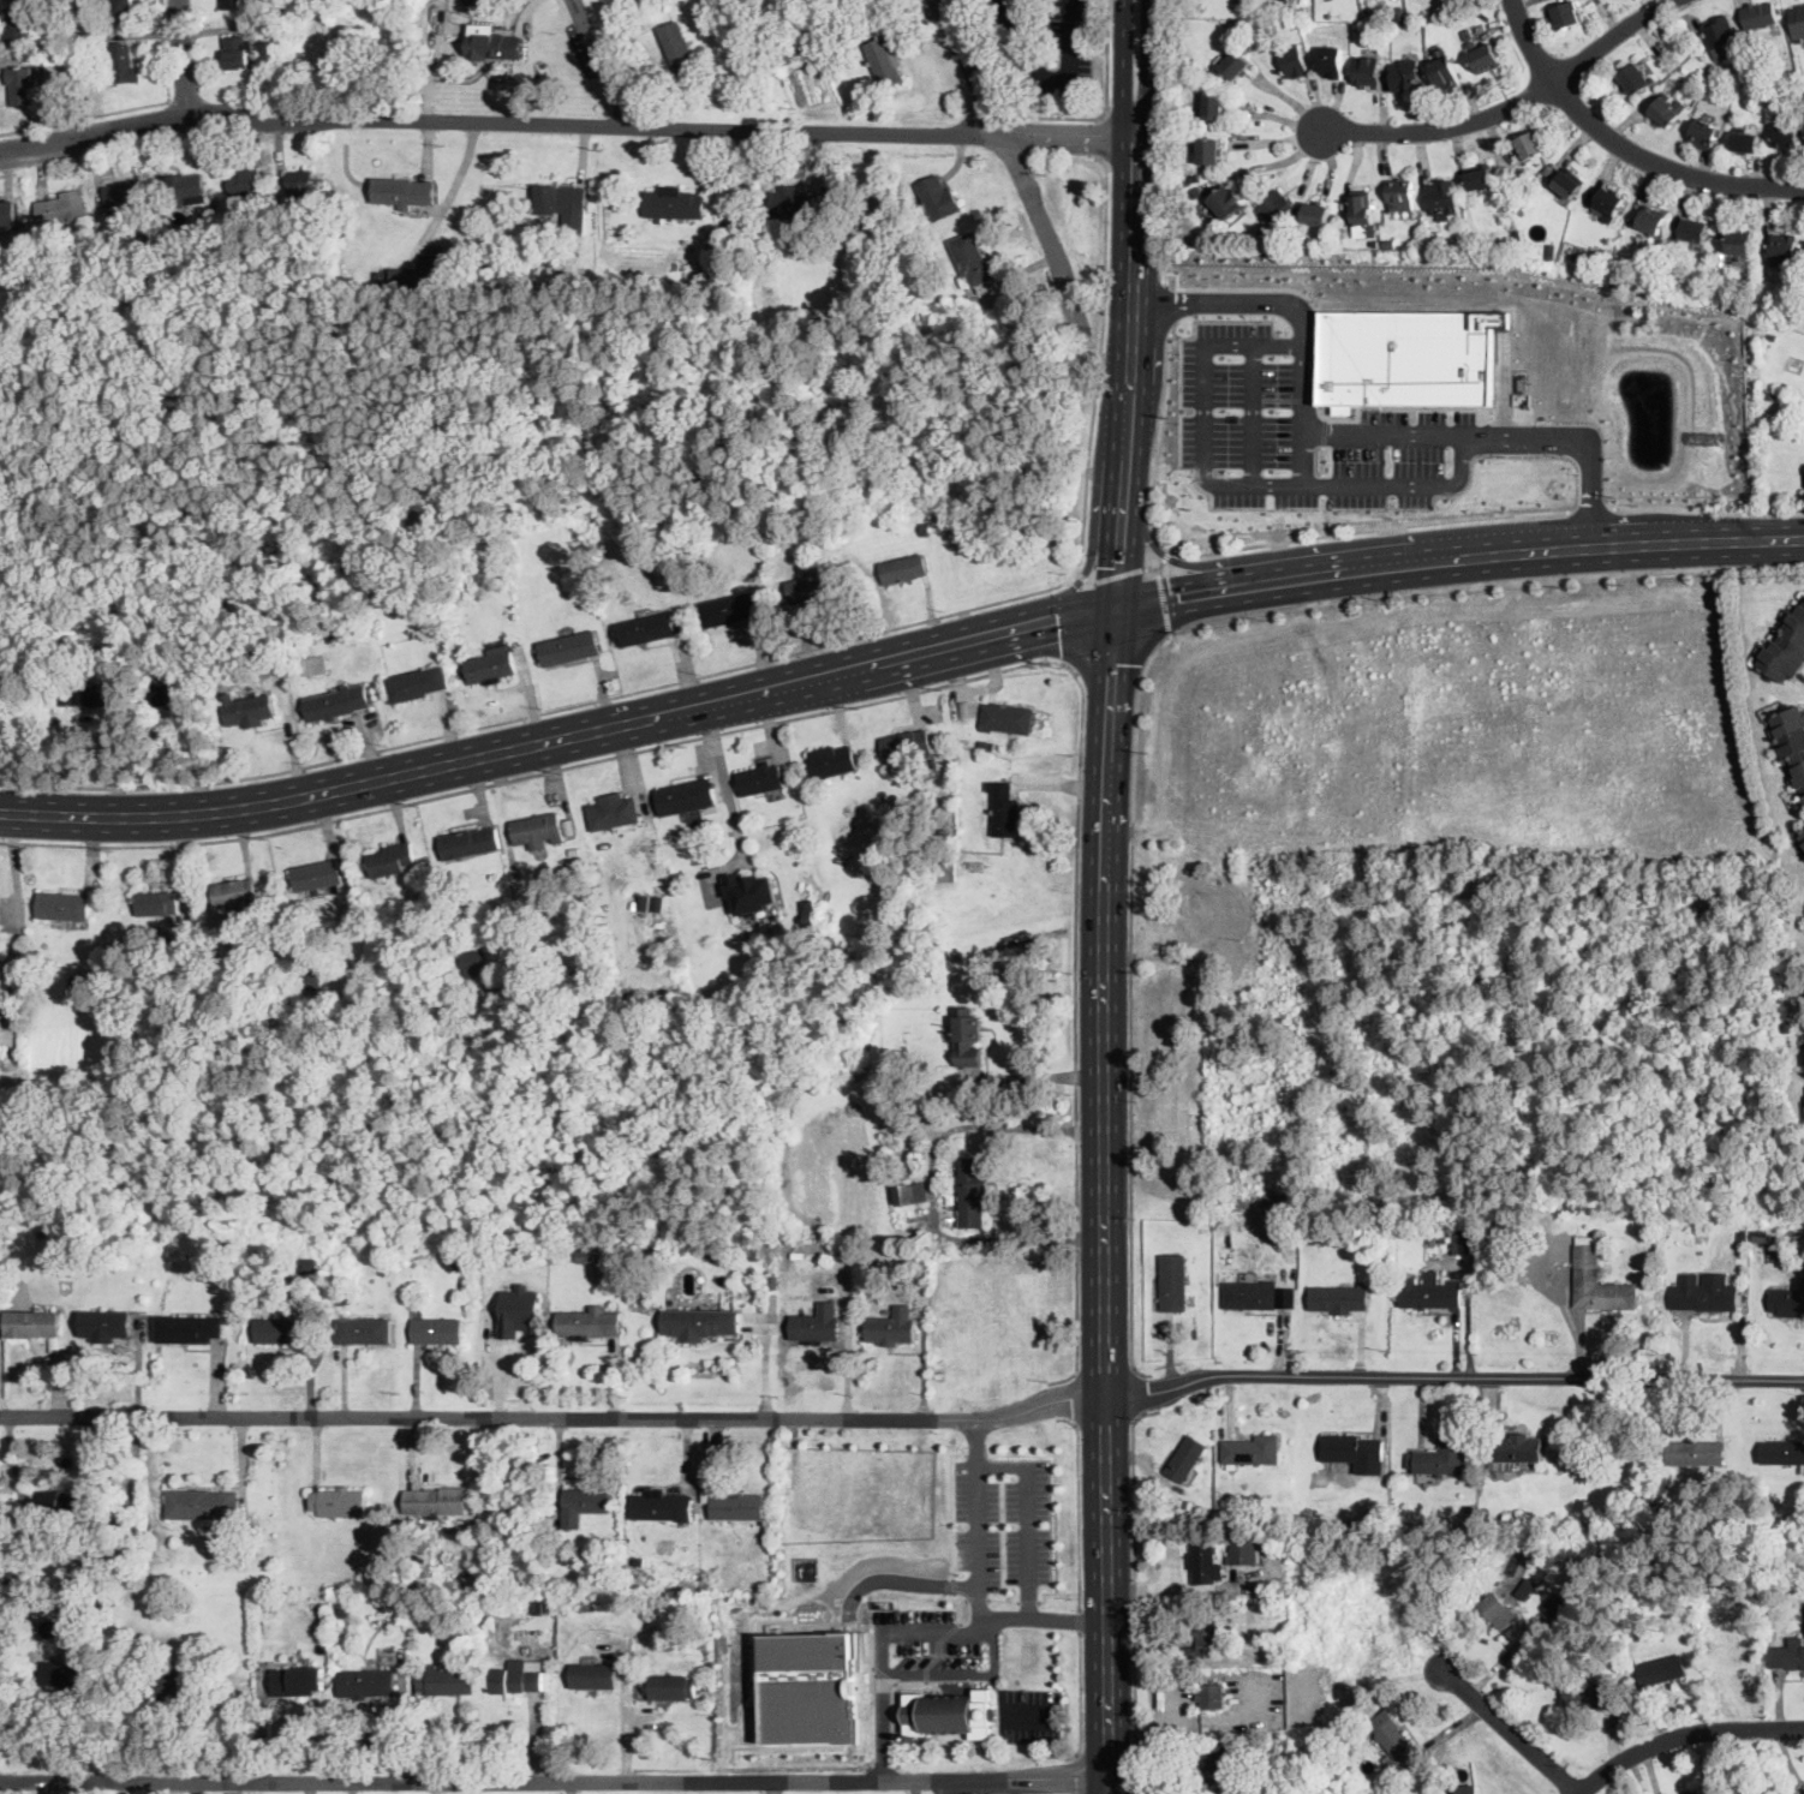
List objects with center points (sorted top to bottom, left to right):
building: (14, 0)
building: (470, 1)
building: (1239, 1)
building: (455, 2)
building: (234, 4)
building: (123, 8)
building: (1566, 16)
building: (1760, 16)
building: (1445, 17)
building: (283, 22)
building: (1798, 22)
building: (1296, 24)
building: (1356, 26)
building: (19, 30)
building: (1720, 32)
building: (280, 46)
building: (494, 46)
building: (677, 46)
building: (1756, 47)
building: (1483, 52)
building: (237, 53)
building: (788, 53)
parking lot: (1021, 53)
building: (52, 59)
road: (180, 60)
building: (1292, 61)
building: (121, 62)
road: (604, 62)
building: (884, 62)
building: (1333, 62)
building: (1713, 64)
building: (1235, 65)
road: (1152, 66)
road: (1124, 67)
building: (1749, 70)
building: (1367, 71)
building: (1444, 71)
building: (1181, 74)
building: (1406, 76)
road: (1051, 78)
building: (1636, 79)
building: (1718, 79)
building: (20, 85)
building: (1781, 85)
road: (1106, 104)
building: (1214, 106)
road: (135, 108)
road: (1510, 108)
building: (1665, 113)
road: (560, 125)
road: (1137, 133)
building: (1704, 134)
building: (1787, 137)
road: (1106, 138)
road: (1167, 140)
building: (1746, 142)
building: (1531, 146)
road: (1623, 146)
building: (1209, 151)
road: (1017, 161)
road: (8, 174)
building: (1481, 177)
building: (300, 180)
building: (1190, 180)
building: (245, 181)
building: (1569, 184)
building: (184, 187)
building: (404, 192)
building: (123, 193)
building: (1197, 193)
building: (1402, 195)
building: (1509, 195)
building: (938, 198)
building: (1441, 199)
building: (471, 202)
building: (1226, 202)
building: (675, 203)
building: (563, 204)
building: (1609, 204)
building: (794, 205)
building: (61, 207)
building: (1276, 208)
building: (1363, 208)
building: (1316, 211)
building: (7, 215)
building: (1651, 219)
building: (203, 220)
building: (1694, 232)
building: (145, 238)
building: (1375, 241)
building: (1505, 241)
building: (1268, 244)
building: (1388, 244)
building: (1436, 244)
building: (1740, 244)
building: (1782, 247)
building: (1549, 256)
building: (1587, 256)
building: (972, 263)
building: (431, 273)
building: (404, 277)
building: (711, 277)
building: (767, 295)
building: (907, 295)
road: (1163, 300)
road: (1230, 301)
building: (1773, 335)
building: (1406, 355)
road: (1100, 359)
road: (1146, 369)
road: (1118, 373)
building: (1770, 394)
road: (1253, 414)
road: (1306, 414)
road: (1201, 420)
road: (1391, 435)
road: (1582, 442)
building: (926, 468)
road: (1418, 485)
road: (1593, 508)
road: (1707, 510)
building: (724, 520)
building: (635, 522)
building: (925, 530)
building: (513, 533)
building: (635, 540)
road: (1700, 540)
road: (1254, 545)
traffic signals: (1109, 548)
road: (1166, 554)
road: (1177, 562)
building: (653, 566)
road: (1362, 566)
building: (587, 567)
building: (903, 568)
road: (1155, 568)
road: (1083, 569)
road: (1093, 570)
road: (1119, 570)
road: (1086, 572)
building: (813, 588)
traffic signals: (1179, 594)
road: (1161, 602)
road: (1118, 609)
building: (728, 610)
road: (1075, 618)
road: (1068, 621)
traffic signals: (1058, 623)
building: (646, 629)
building: (331, 632)
building: (345, 632)
building: (569, 648)
building: (1785, 648)
road: (1109, 663)
traffic signals: (1128, 663)
building: (490, 666)
road: (874, 666)
building: (417, 684)
building: (91, 694)
building: (177, 694)
building: (336, 702)
building: (247, 710)
road: (545, 710)
building: (1764, 712)
building: (1006, 718)
building: (1791, 742)
building: (907, 746)
building: (832, 761)
road: (539, 771)
building: (760, 779)
road: (723, 783)
road: (356, 787)
building: (685, 797)
building: (1004, 811)
building: (613, 813)
building: (537, 831)
building: (1800, 838)
building: (468, 843)
building: (574, 851)
building: (389, 860)
building: (673, 861)
building: (940, 873)
building: (877, 874)
building: (316, 875)
building: (450, 885)
building: (442, 889)
building: (749, 893)
building: (237, 896)
building: (156, 903)
building: (644, 903)
building: (658, 904)
building: (62, 905)
building: (586, 911)
building: (810, 922)
building: (663, 923)
road: (18, 925)
building: (215, 955)
building: (472, 963)
building: (187, 964)
building: (573, 973)
building: (311, 979)
building: (78, 983)
building: (494, 985)
building: (144, 986)
road: (1131, 998)
road: (1077, 1034)
building: (968, 1037)
building: (1802, 1060)
building: (972, 1191)
building: (910, 1194)
road: (1117, 1198)
road: (1093, 1202)
building: (1203, 1224)
building: (1274, 1231)
building: (1744, 1234)
building: (1433, 1240)
building: (1465, 1242)
building: (711, 1251)
building: (617, 1255)
building: (591, 1257)
building: (304, 1266)
building: (639, 1281)
building: (1599, 1281)
building: (1173, 1284)
building: (1708, 1293)
building: (1430, 1294)
building: (1250, 1296)
building: (1338, 1299)
building: (1788, 1299)
building: (344, 1300)
building: (520, 1310)
building: (700, 1322)
building: (590, 1323)
building: (32, 1324)
building: (106, 1324)
building: (810, 1324)
building: (894, 1326)
building: (189, 1329)
building: (287, 1329)
building: (365, 1330)
building: (437, 1330)
road: (1447, 1377)
road: (1139, 1394)
road: (1073, 1400)
road: (548, 1417)
road: (975, 1443)
building: (1515, 1448)
building: (1253, 1451)
building: (1355, 1452)
building: (1697, 1453)
building: (1782, 1453)
building: (1441, 1458)
building: (1185, 1459)
building: (339, 1502)
building: (437, 1502)
building: (584, 1503)
building: (203, 1505)
building: (1189, 1505)
building: (70, 1506)
building: (662, 1506)
building: (739, 1507)
road: (1080, 1507)
building: (1274, 1511)
building: (1373, 1523)
road: (978, 1524)
building: (1247, 1551)
building: (1534, 1557)
building: (638, 1562)
building: (1205, 1563)
building: (661, 1566)
building: (693, 1568)
building: (12, 1578)
road: (1188, 1586)
building: (1527, 1590)
road: (1136, 1591)
road: (1055, 1592)
building: (1552, 1599)
building: (537, 1605)
building: (550, 1607)
building: (59, 1610)
building: (79, 1610)
building: (339, 1611)
building: (1499, 1611)
road: (1006, 1617)
road: (1075, 1623)
road: (1081, 1625)
building: (44, 1626)
building: (1203, 1638)
building: (348, 1650)
building: (1786, 1657)
building: (67, 1670)
building: (1661, 1672)
building: (593, 1676)
road: (939, 1676)
building: (516, 1678)
building: (221, 1679)
building: (446, 1680)
building: (298, 1681)
building: (366, 1682)
building: (169, 1687)
building: (670, 1687)
building: (811, 1687)
road: (1000, 1690)
building: (1589, 1692)
building: (1211, 1697)
road: (1081, 1702)
building: (948, 1714)
road: (623, 1720)
road: (98, 1724)
road: (264, 1724)
road: (1507, 1729)
road: (883, 1732)
road: (1683, 1735)
building: (1392, 1741)
building: (1214, 1757)
road: (1077, 1774)
road: (561, 1781)
road: (772, 1787)
road: (960, 1787)
building: (1237, 1789)
building: (1467, 1789)
building: (1703, 1793)

